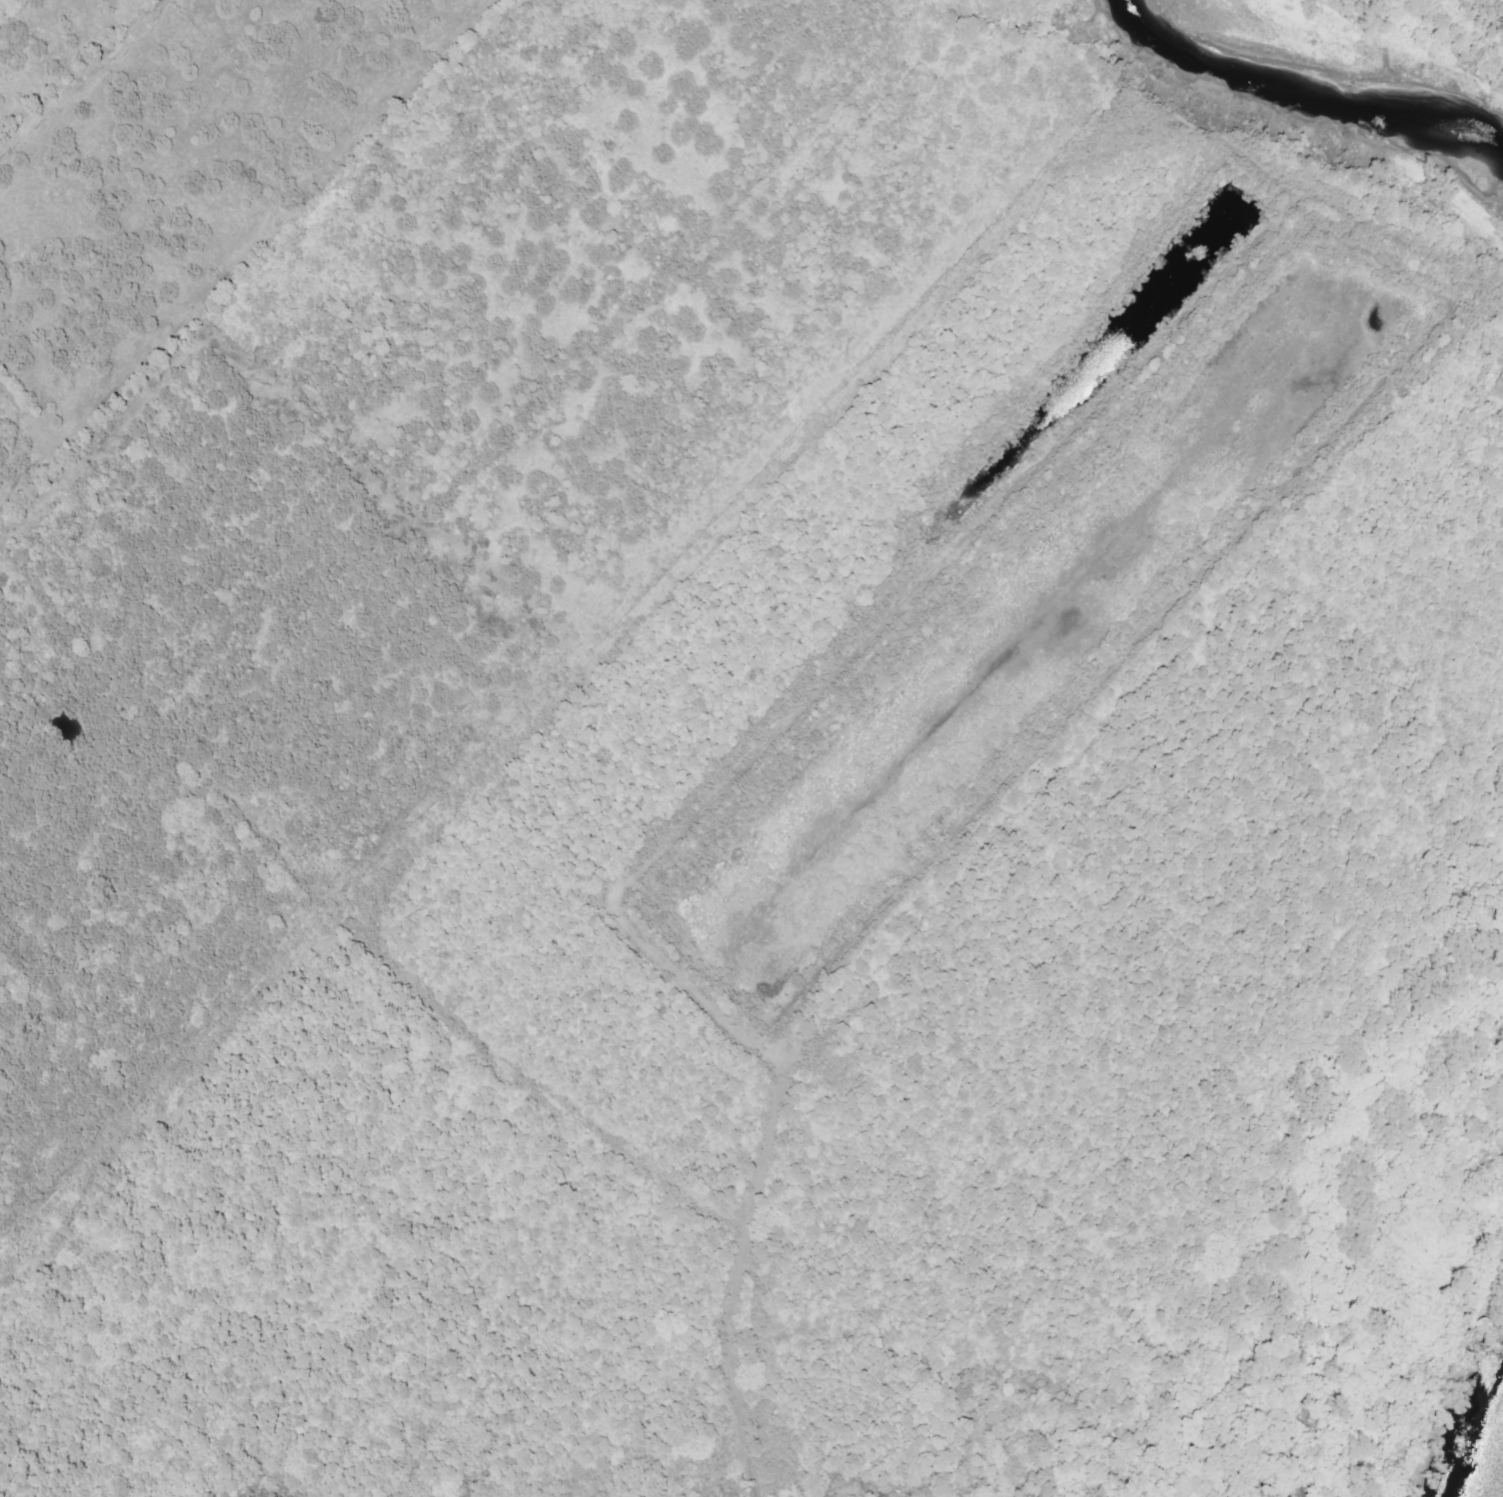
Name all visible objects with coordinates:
river: (1502, 1496)

